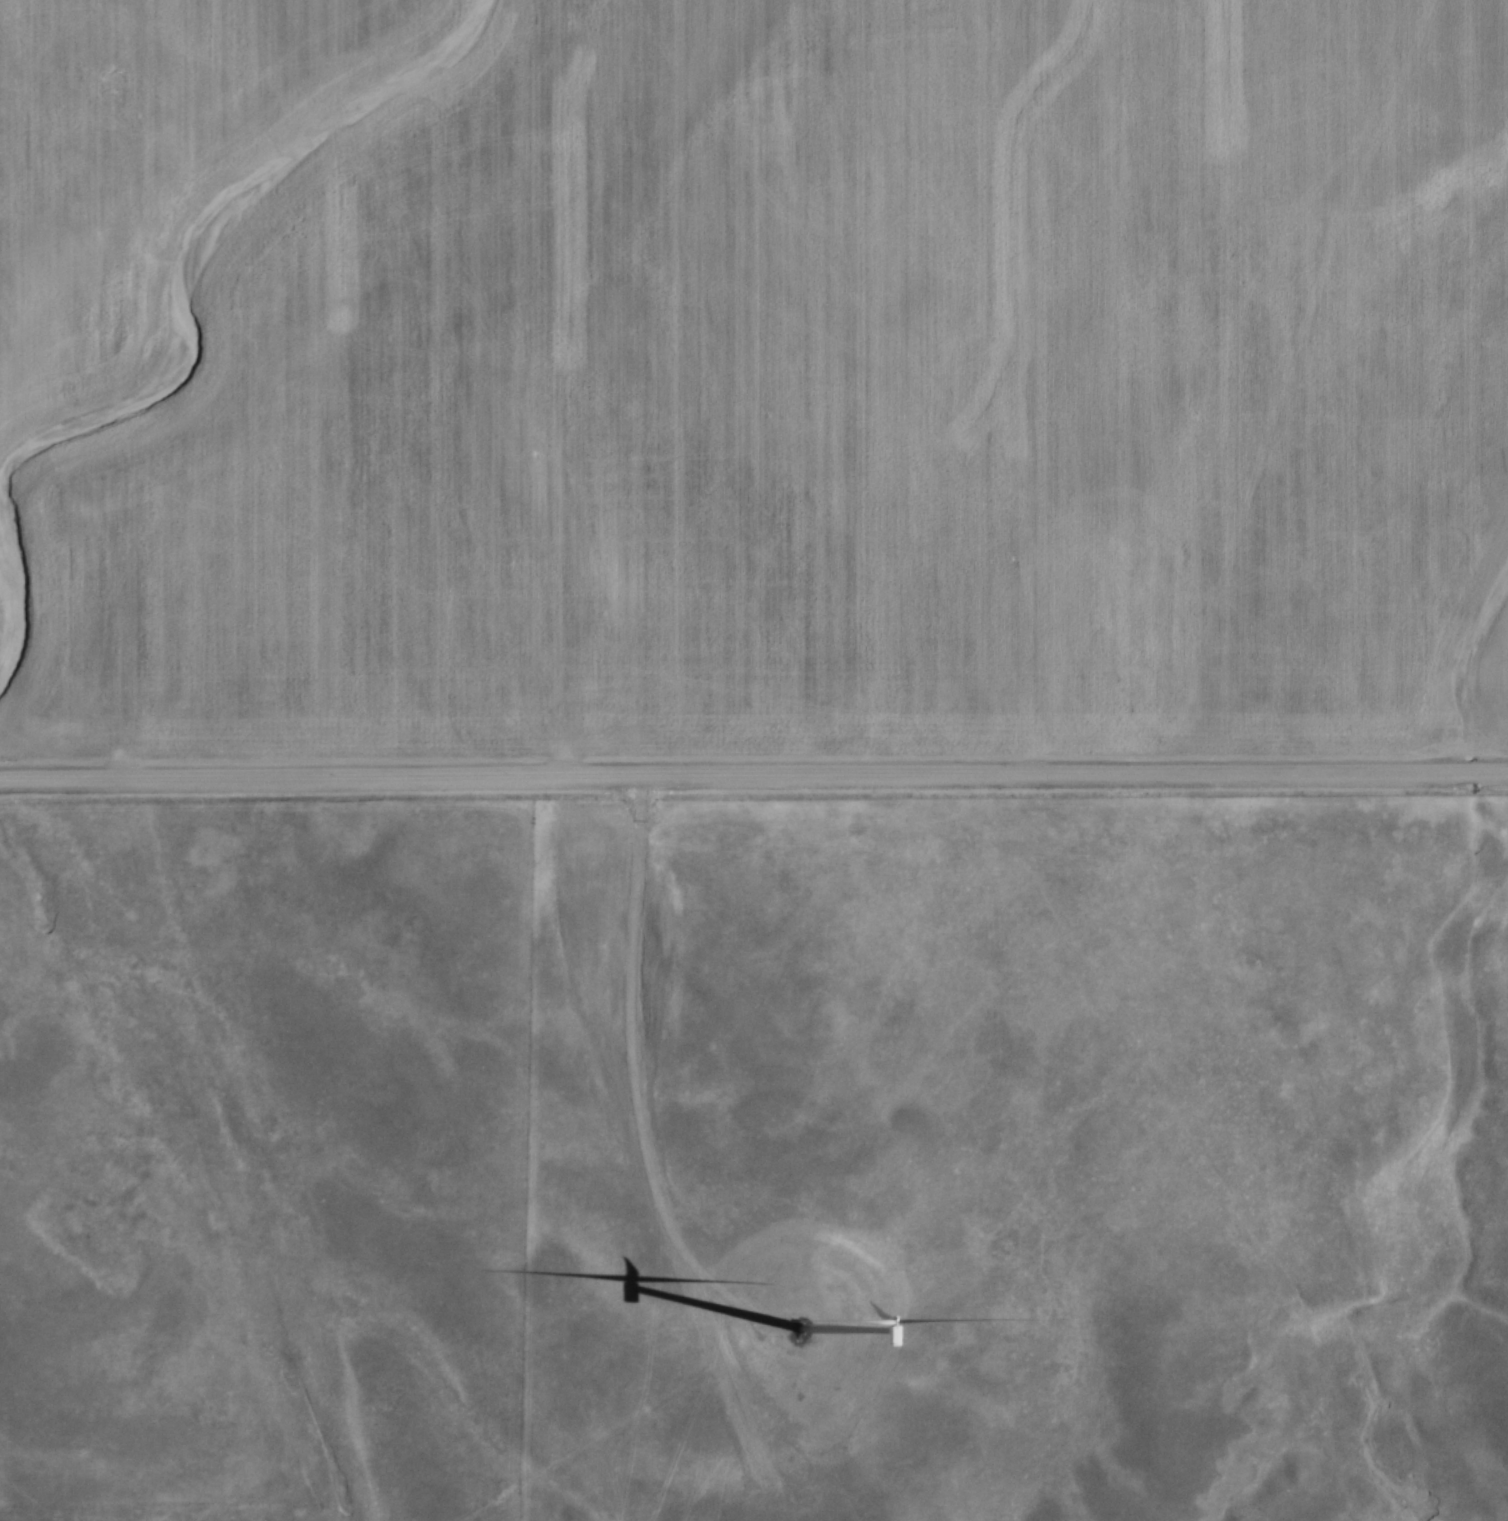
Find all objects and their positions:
road: (754, 771)
road: (635, 1050)
wind turbine: (805, 1323)

